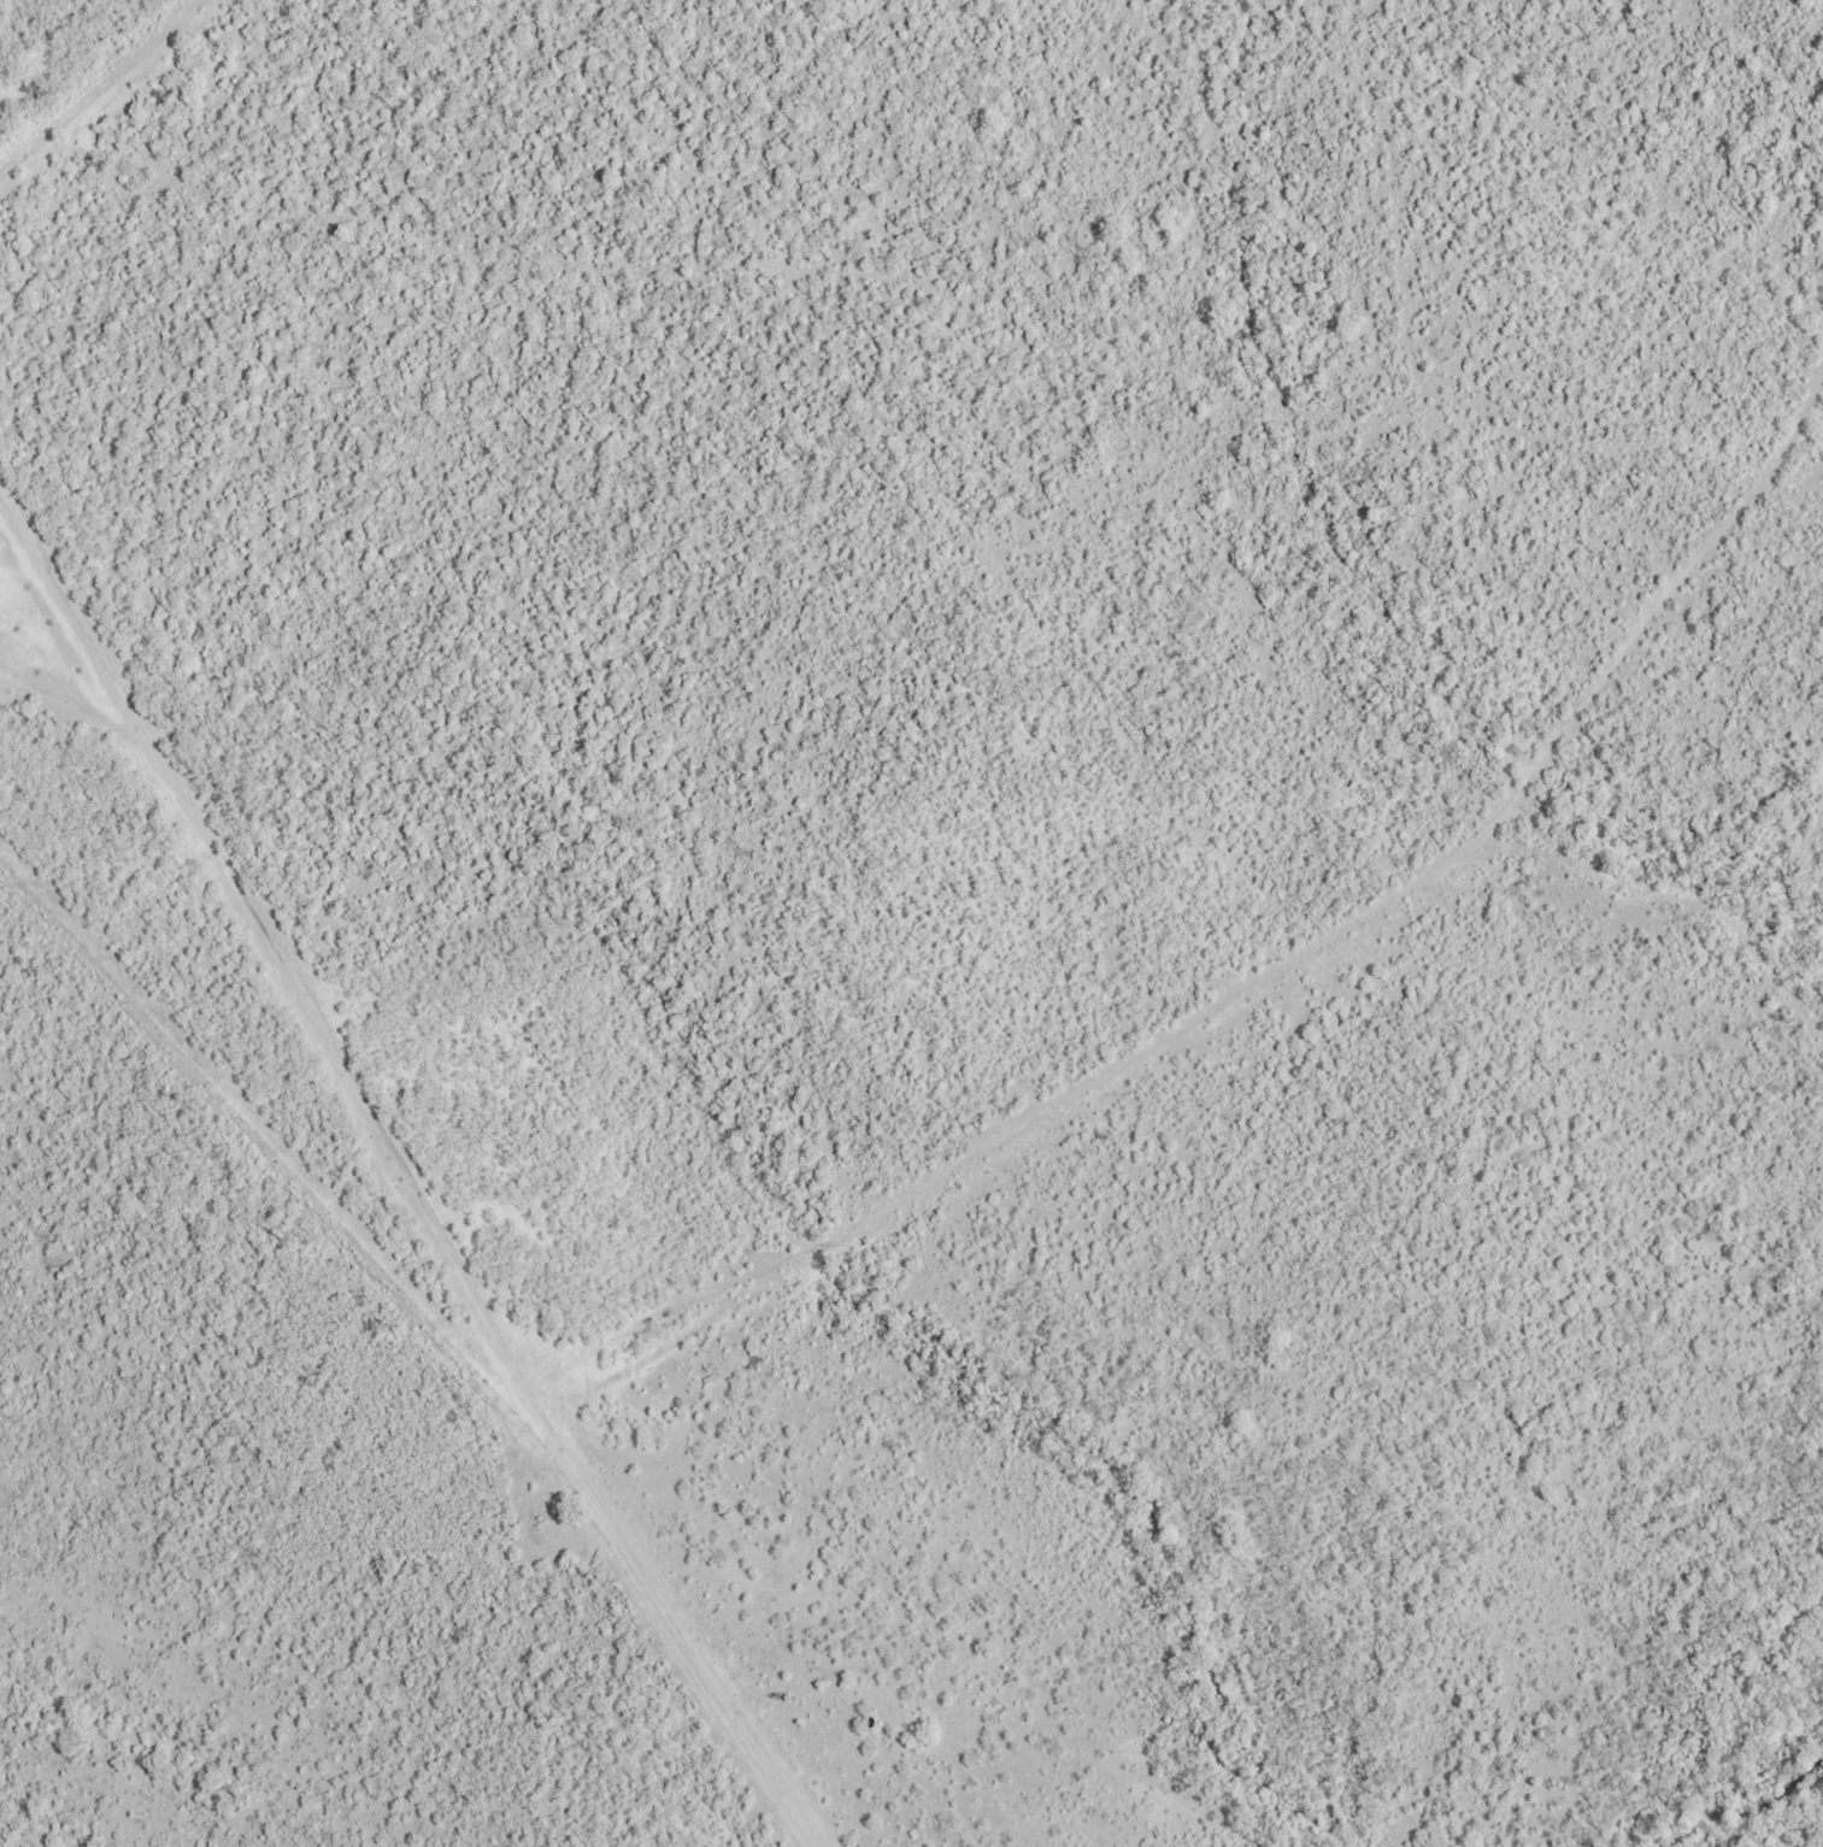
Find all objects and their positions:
road: (1104, 757)
road: (978, 1251)

